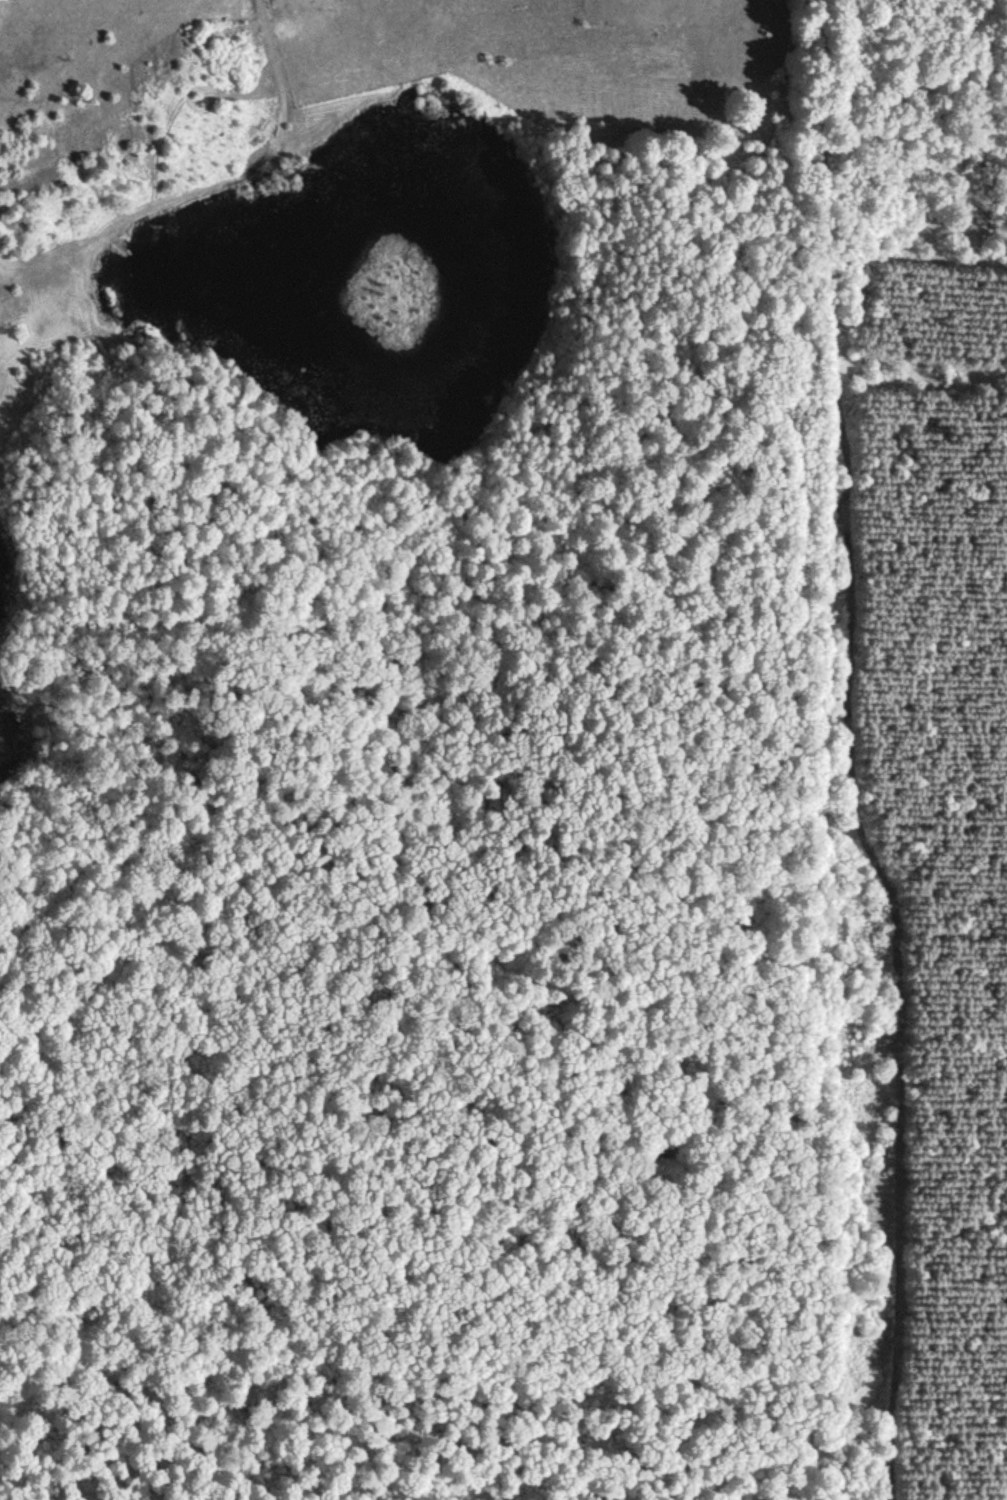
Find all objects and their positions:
road: (817, 760)
building: (659, 1148)

